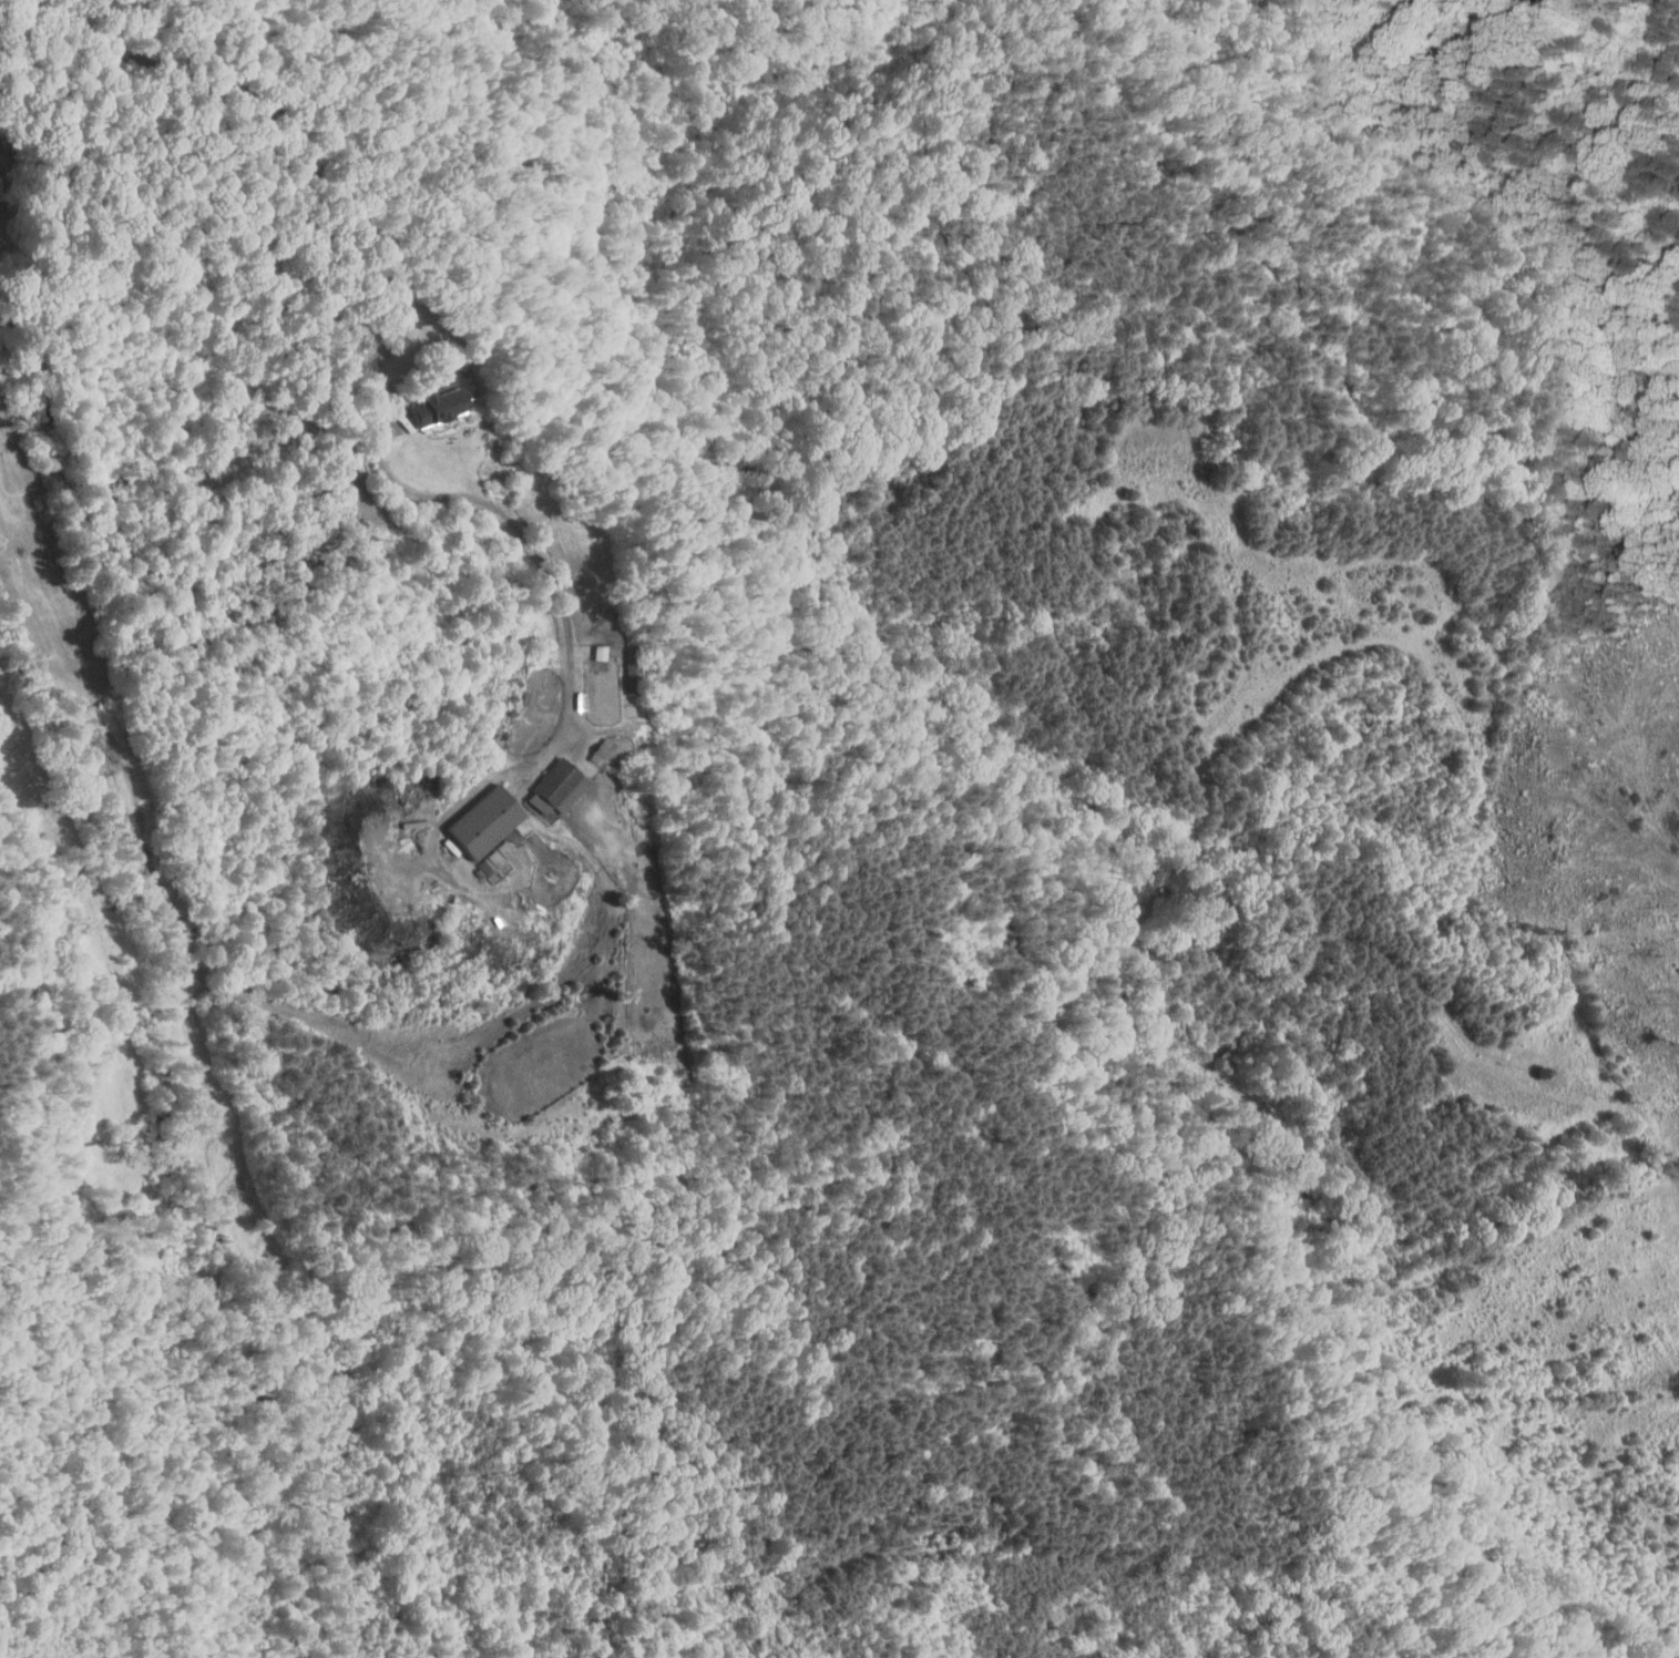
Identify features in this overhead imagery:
road: (382, 358)
building: (436, 391)
building: (590, 744)
building: (545, 782)
building: (473, 815)
building: (482, 856)
road: (470, 892)

